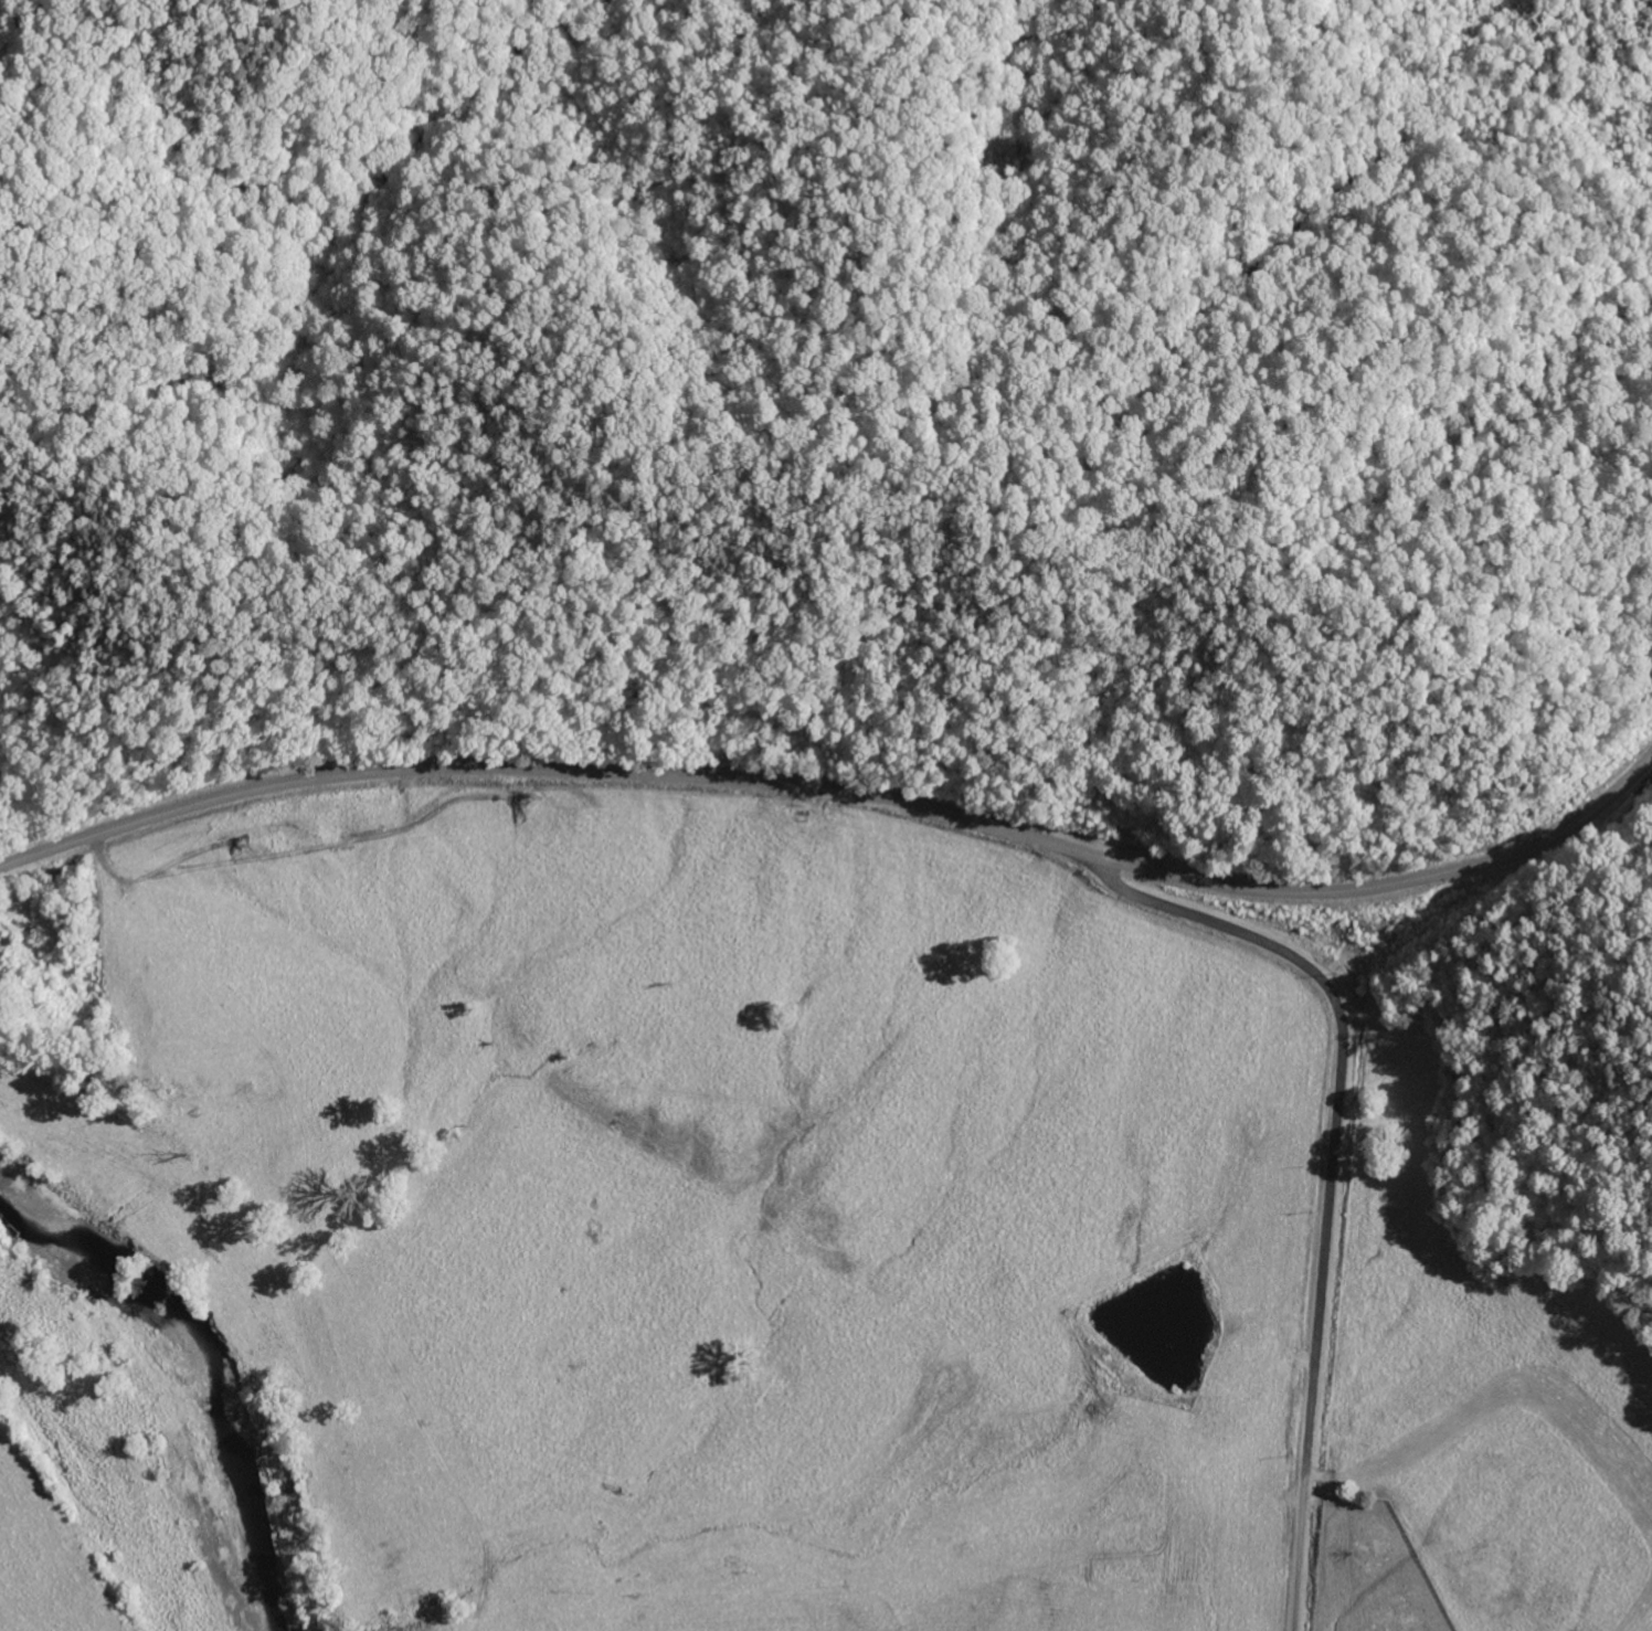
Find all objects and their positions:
road: (843, 793)
road: (1332, 1175)

